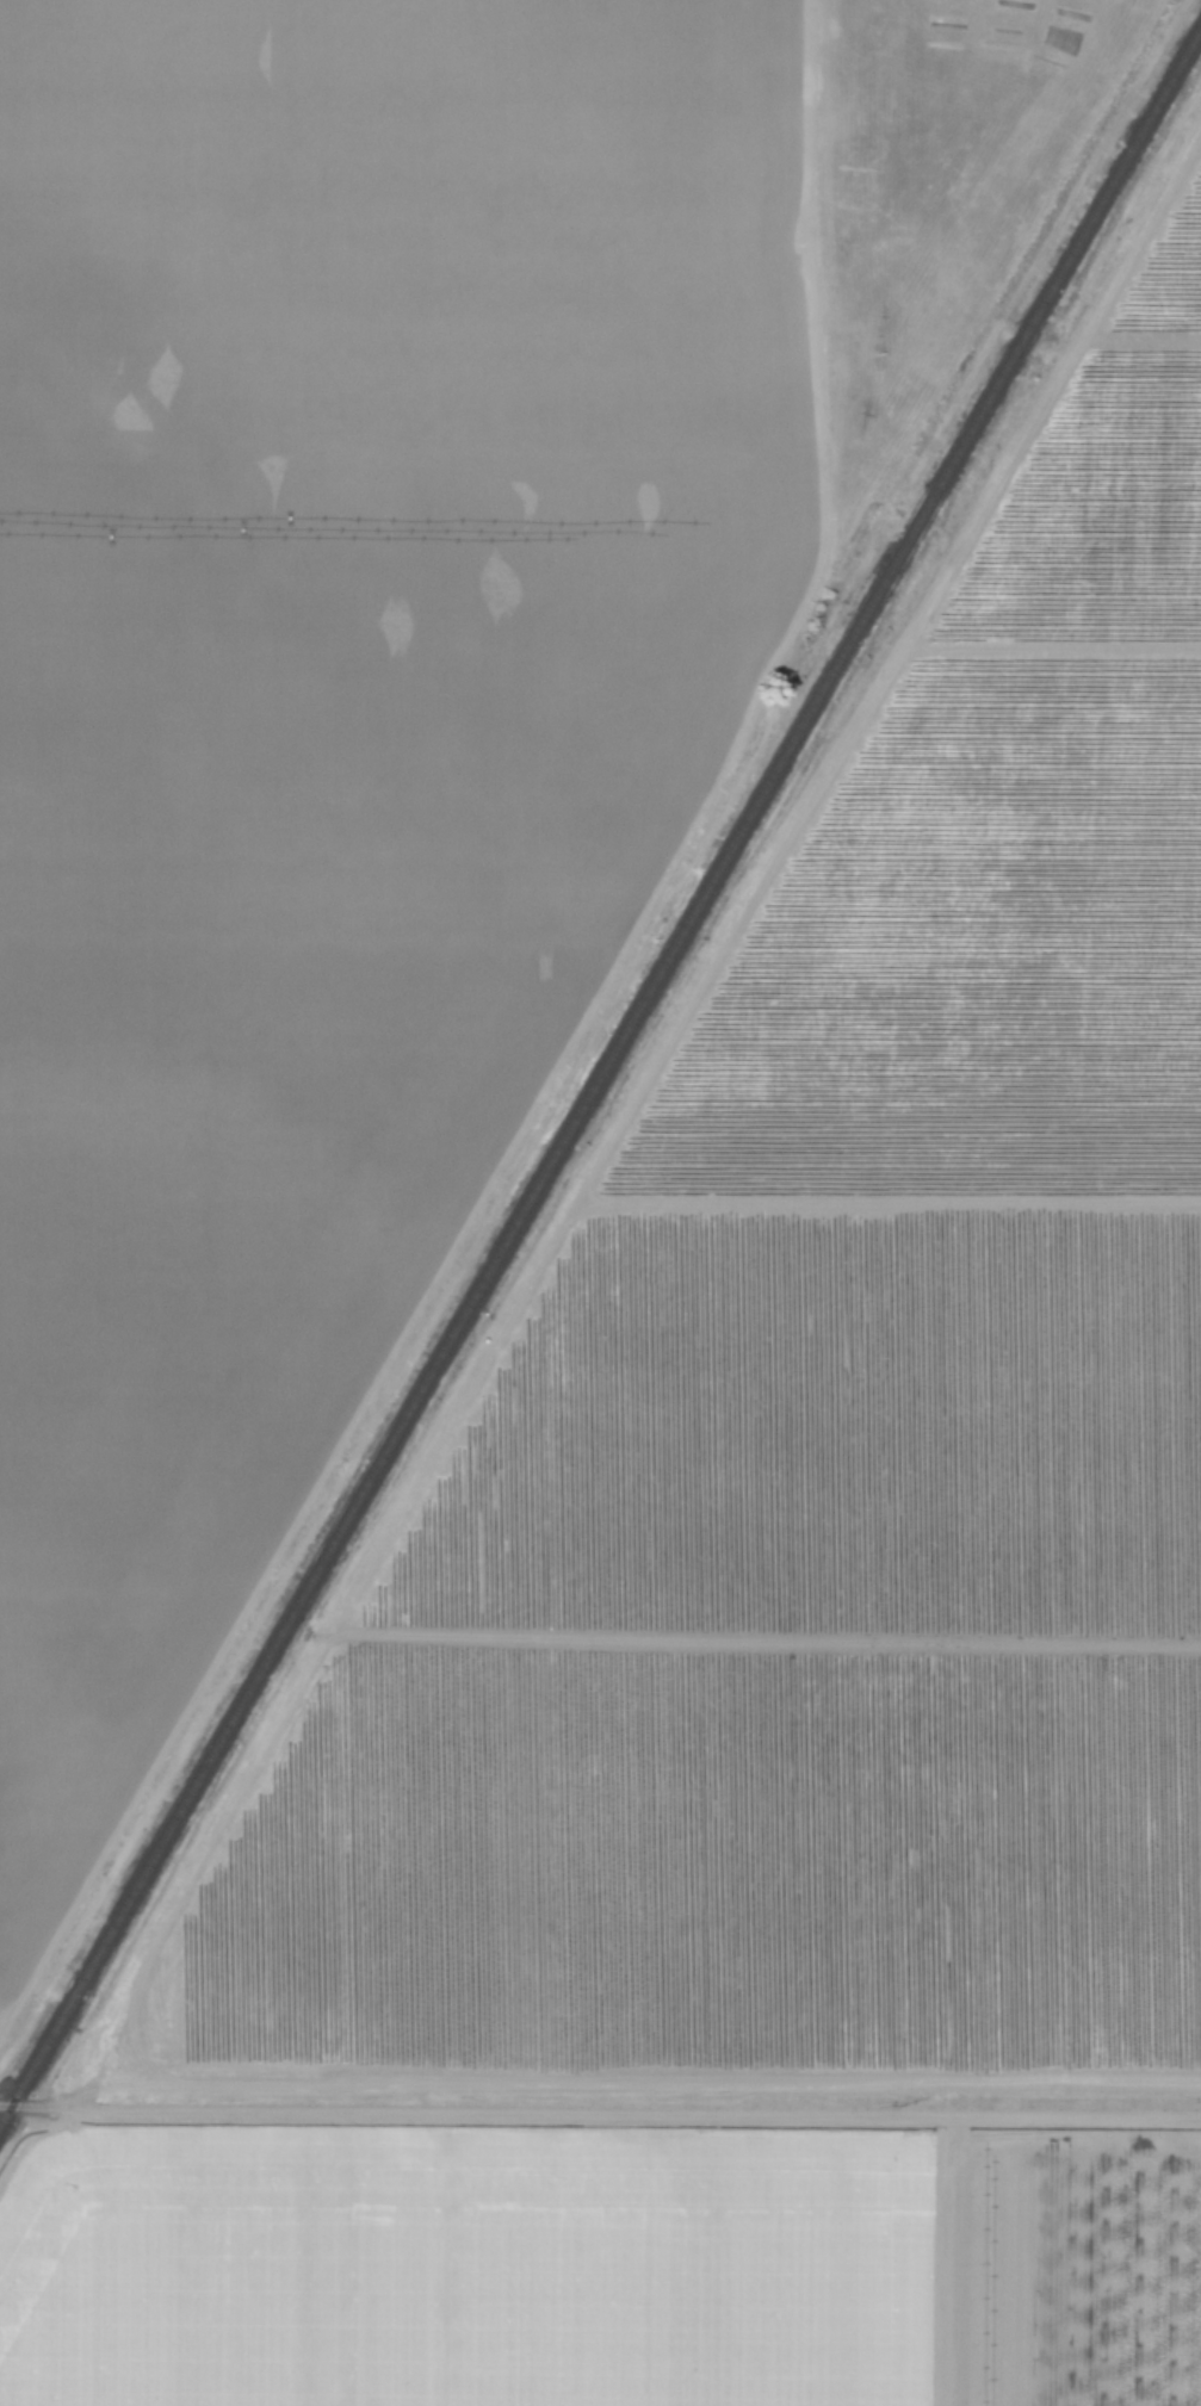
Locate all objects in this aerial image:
railway: (600, 1072)
crop: (768, 1626)
road: (26, 2104)

